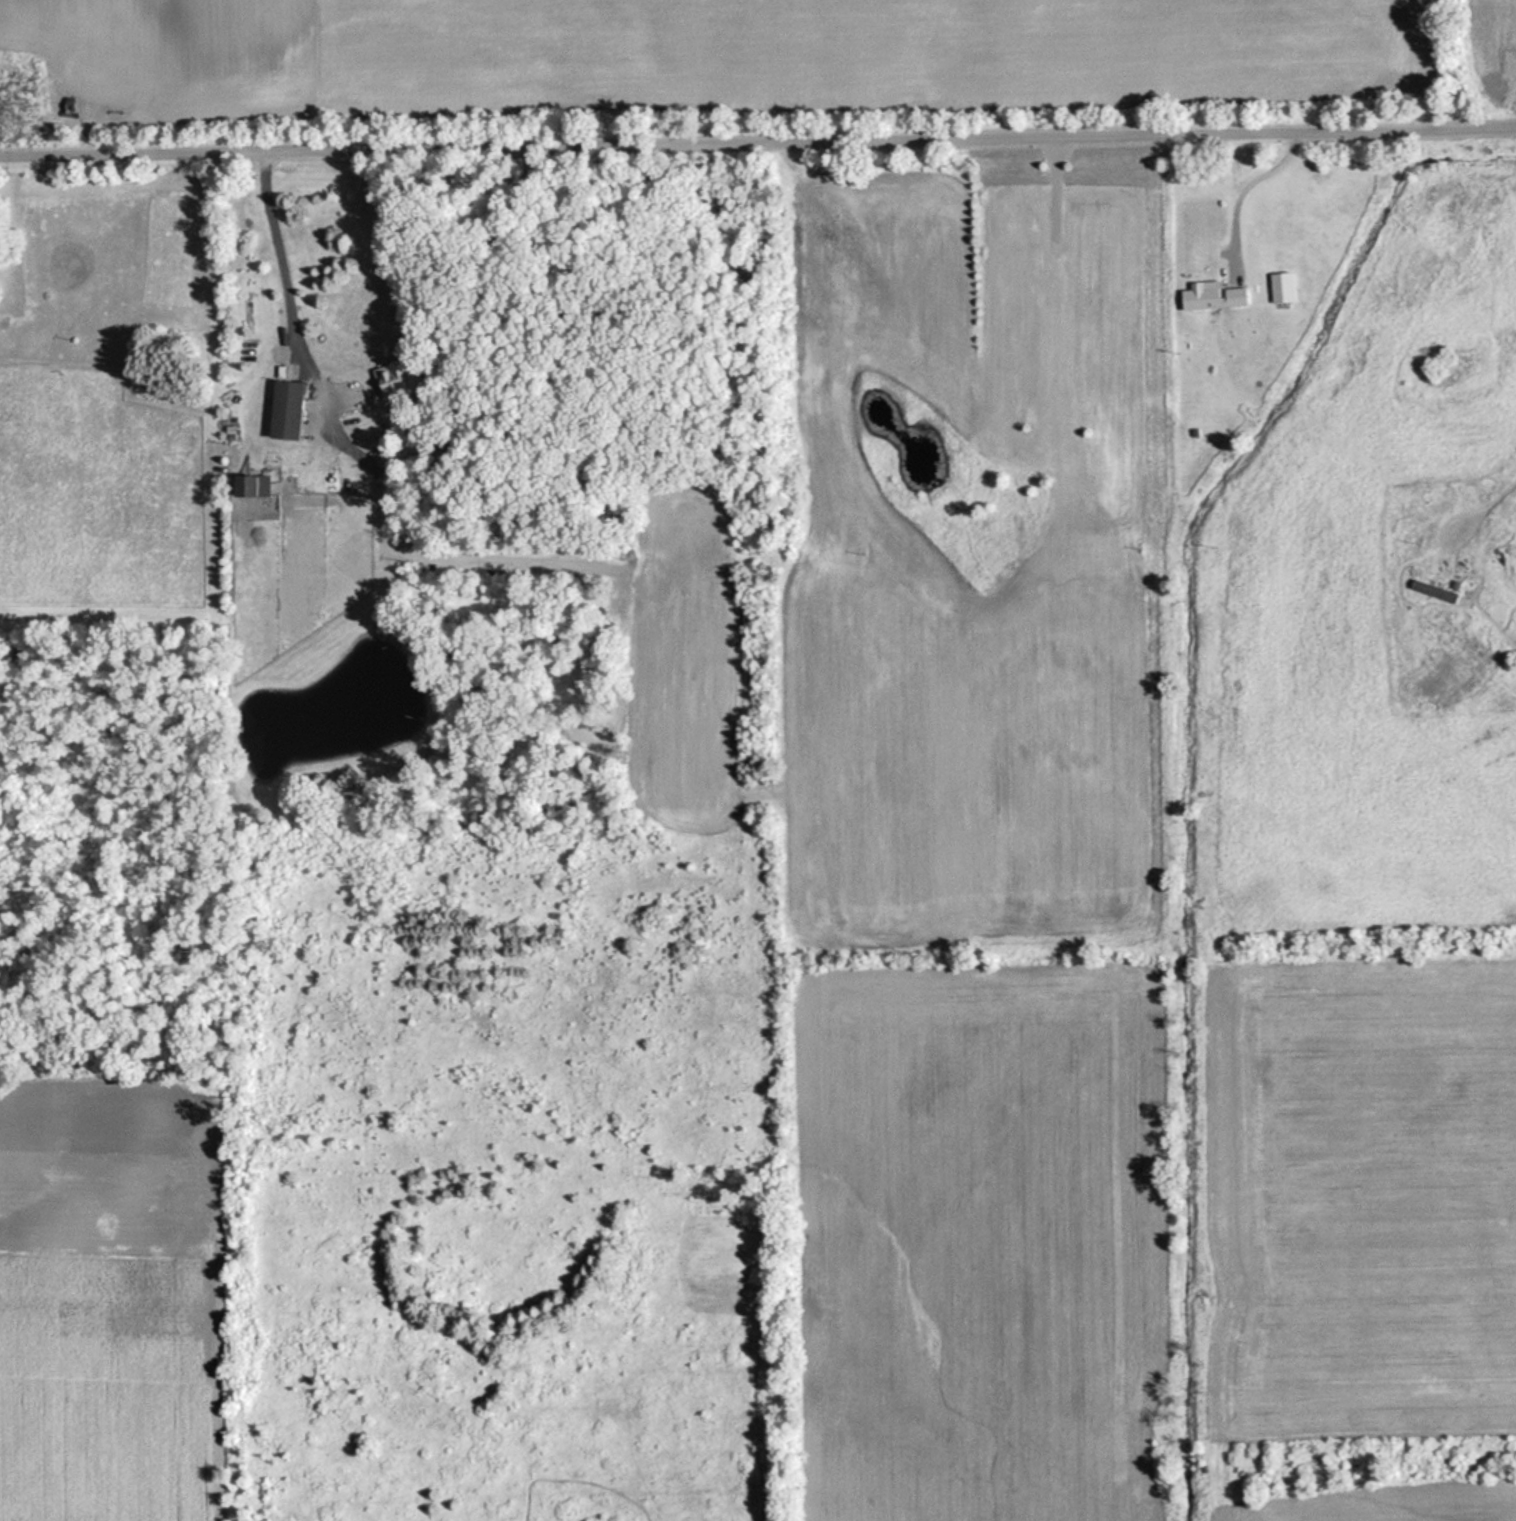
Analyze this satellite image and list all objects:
road: (758, 151)
building: (1278, 287)
building: (1209, 296)
building: (401, 378)
building: (297, 409)
building: (254, 484)
building: (1431, 591)

